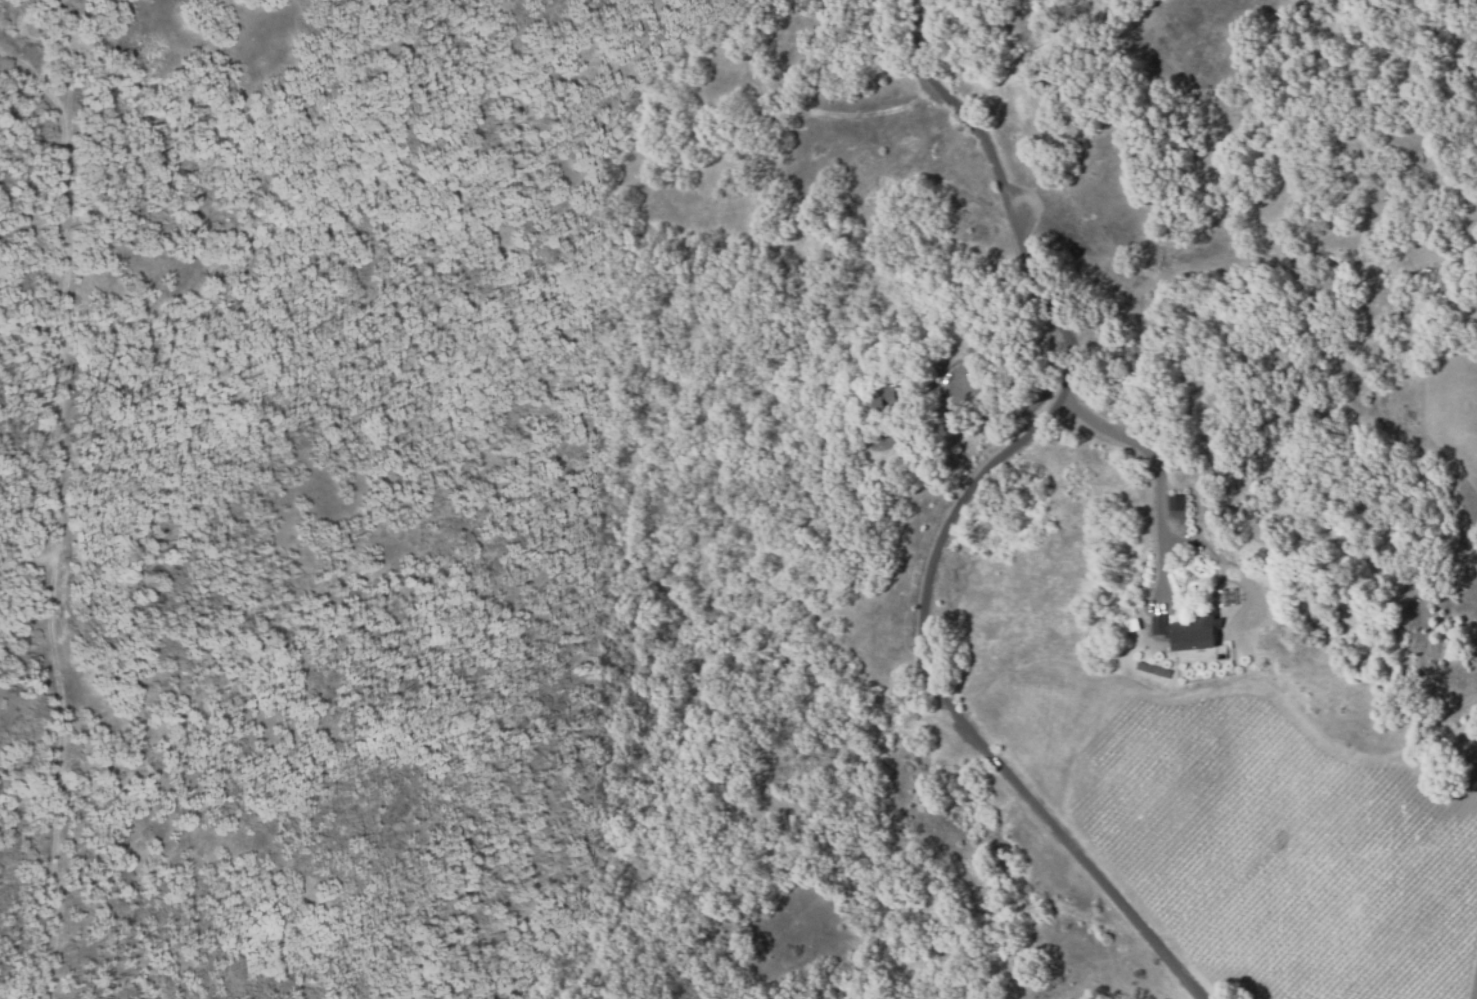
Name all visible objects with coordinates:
road: (1038, 269)
building: (897, 396)
building: (1164, 499)
building: (1195, 548)
building: (1226, 597)
building: (1133, 625)
building: (1186, 632)
road: (953, 714)

